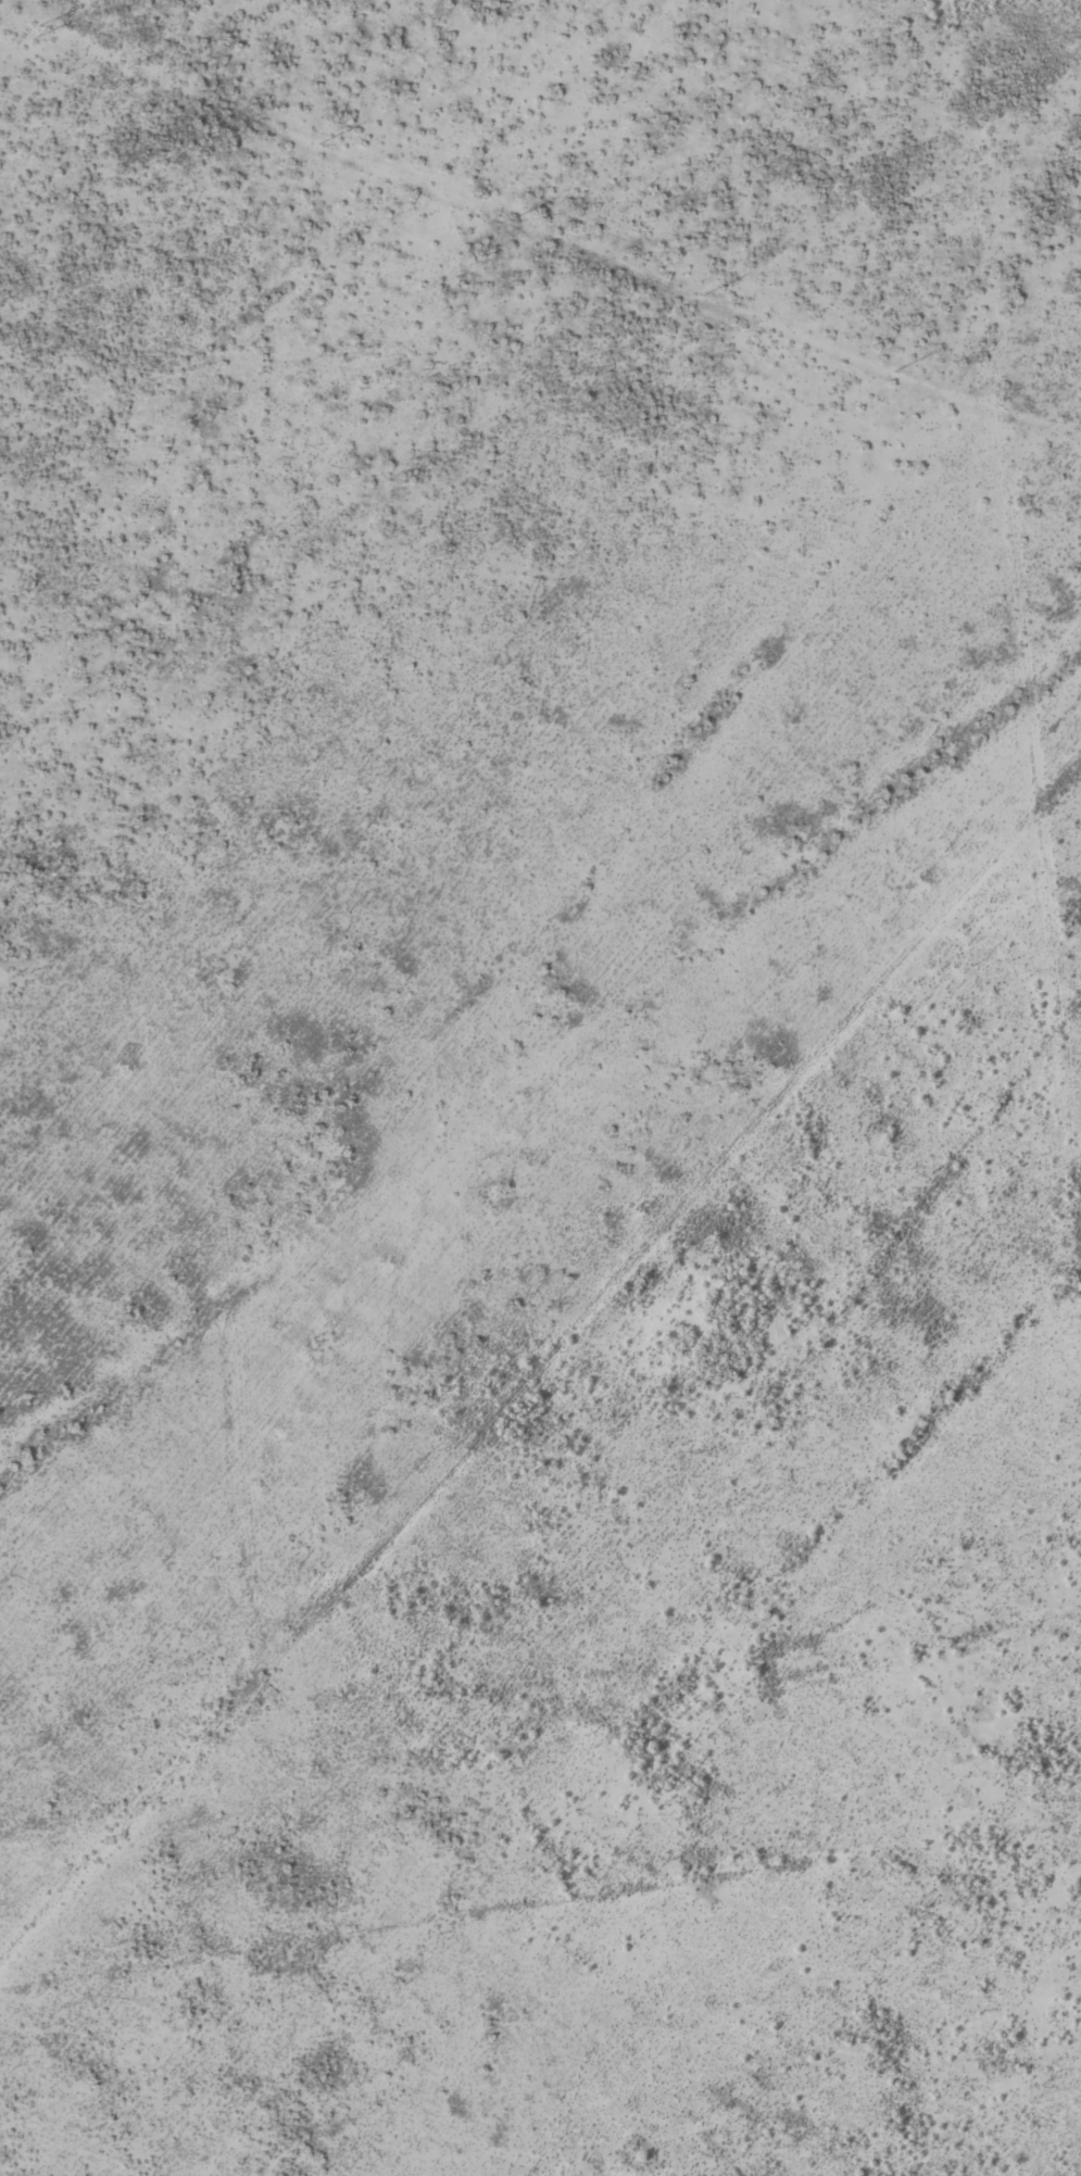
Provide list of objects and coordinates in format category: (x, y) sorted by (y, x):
power tower: (37, 33)
power tower: (126, 70)
power tower: (318, 146)
power tower: (511, 221)
power tower: (703, 298)
power tower: (895, 373)

